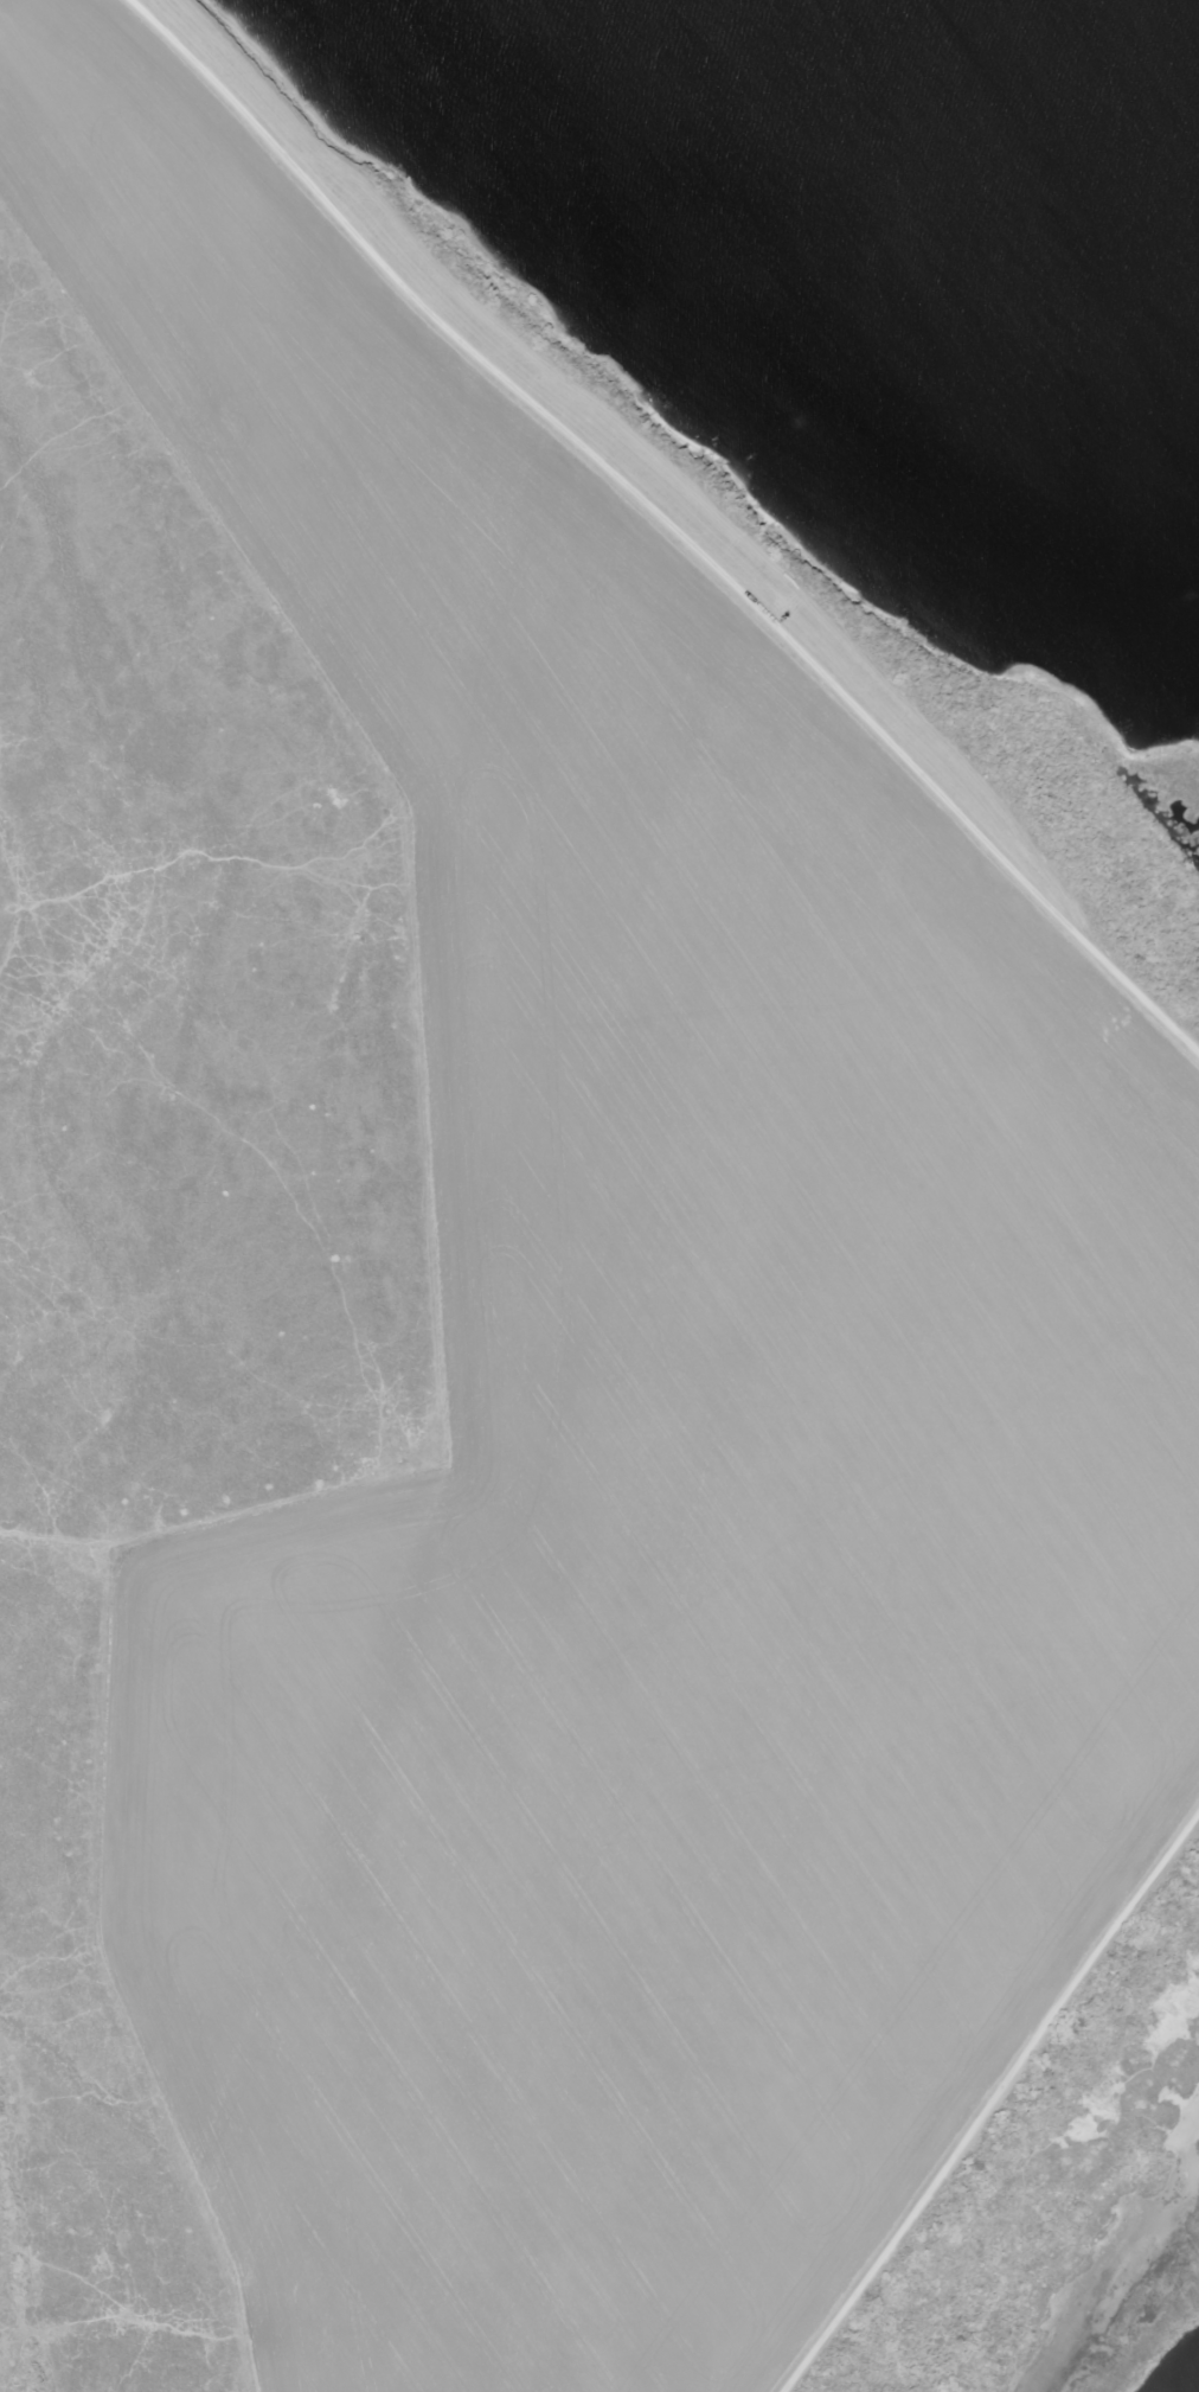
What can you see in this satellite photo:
road: (671, 519)
road: (988, 2096)

